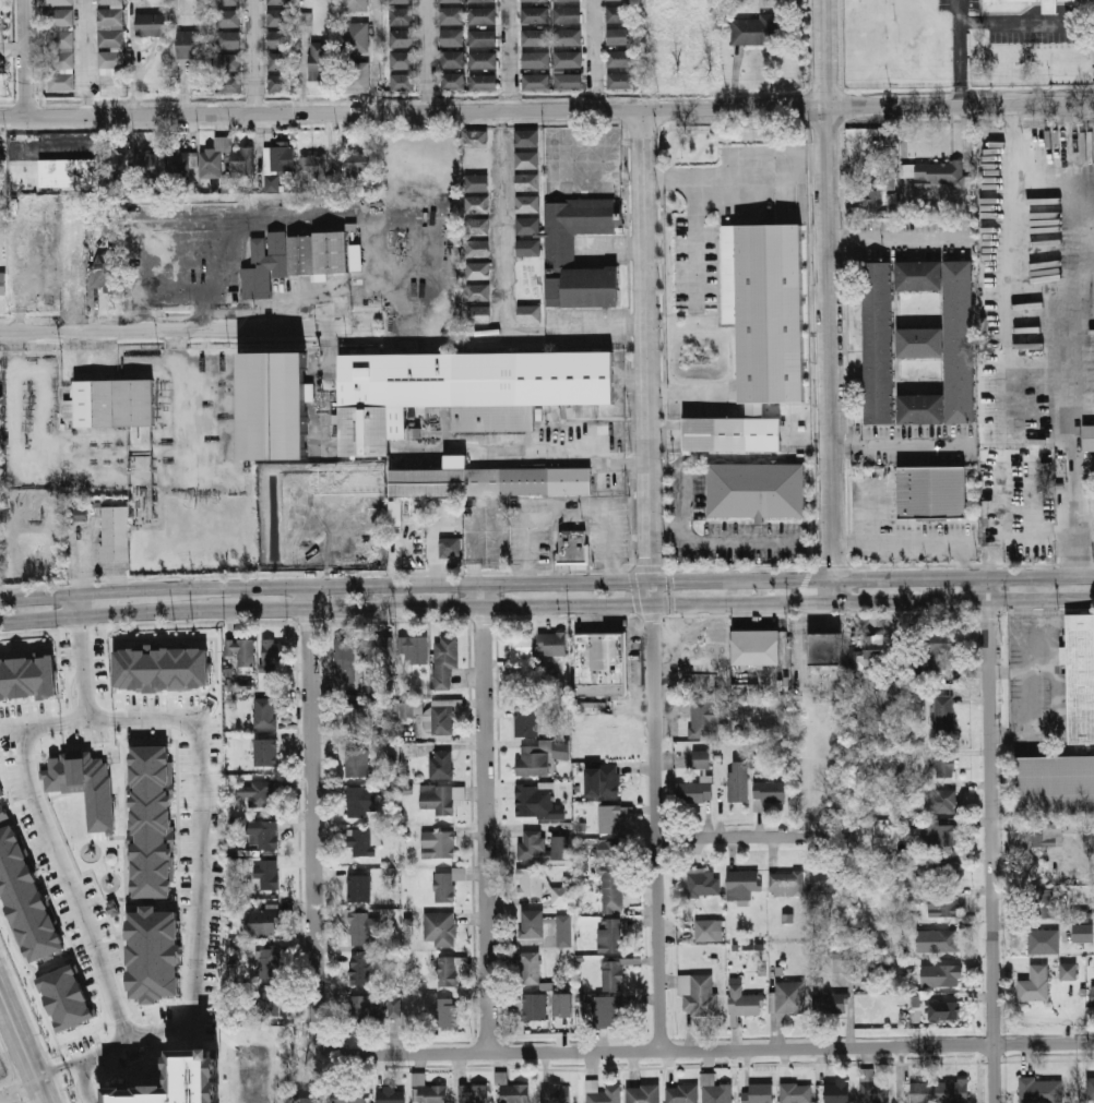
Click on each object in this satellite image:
building: (486, 0)
building: (535, 0)
building: (566, 0)
building: (611, 0)
building: (1007, 0)
building: (1073, 0)
building: (64, 1)
building: (112, 1)
building: (283, 1)
building: (403, 1)
building: (455, 1)
building: (231, 2)
building: (359, 4)
building: (1049, 7)
building: (540, 13)
building: (573, 13)
building: (623, 13)
building: (2, 15)
building: (405, 15)
building: (455, 15)
building: (64, 16)
building: (114, 16)
building: (233, 16)
building: (284, 16)
building: (486, 16)
building: (305, 17)
road: (1026, 21)
building: (155, 24)
building: (761, 29)
building: (625, 35)
building: (540, 36)
building: (573, 36)
building: (359, 37)
building: (405, 37)
building: (456, 37)
building: (115, 38)
building: (285, 38)
building: (486, 38)
building: (63, 39)
building: (233, 39)
building: (198, 44)
road: (13, 47)
road: (959, 52)
road: (806, 53)
road: (513, 55)
road: (599, 55)
road: (261, 56)
road: (378, 56)
road: (424, 56)
road: (27, 57)
road: (86, 57)
road: (178, 57)
building: (626, 57)
building: (542, 58)
building: (574, 58)
building: (66, 59)
building: (115, 59)
building: (456, 59)
building: (406, 60)
building: (487, 60)
building: (234, 61)
building: (285, 61)
building: (323, 61)
building: (356, 77)
building: (67, 80)
building: (543, 80)
building: (574, 80)
building: (626, 80)
building: (457, 81)
building: (1, 82)
building: (406, 82)
building: (233, 83)
building: (285, 83)
building: (487, 83)
road: (817, 86)
road: (547, 109)
building: (525, 139)
building: (475, 140)
road: (600, 144)
building: (214, 158)
building: (283, 158)
road: (552, 159)
building: (526, 160)
building: (148, 163)
building: (181, 163)
building: (242, 163)
building: (358, 165)
building: (114, 166)
building: (313, 167)
building: (49, 171)
road: (740, 171)
building: (935, 173)
road: (598, 175)
building: (271, 182)
building: (526, 182)
building: (476, 183)
building: (879, 191)
building: (526, 204)
building: (477, 205)
road: (298, 212)
road: (502, 219)
building: (99, 226)
building: (73, 227)
building: (477, 227)
building: (526, 227)
road: (1012, 236)
road: (692, 239)
road: (899, 239)
building: (526, 248)
building: (477, 249)
building: (558, 249)
road: (616, 249)
building: (355, 256)
building: (293, 259)
road: (1084, 260)
building: (69, 271)
building: (478, 271)
building: (105, 272)
building: (916, 274)
building: (2, 284)
building: (478, 292)
road: (830, 299)
road: (330, 302)
road: (1077, 309)
building: (478, 313)
building: (528, 313)
road: (603, 326)
road: (175, 327)
building: (757, 335)
building: (875, 340)
building: (956, 340)
building: (917, 341)
road: (176, 386)
road: (13, 389)
building: (459, 391)
road: (688, 398)
building: (108, 403)
building: (270, 405)
building: (918, 408)
road: (1011, 428)
building: (1089, 437)
road: (902, 446)
road: (1085, 466)
building: (346, 479)
building: (487, 480)
road: (1003, 484)
building: (756, 489)
building: (1093, 489)
building: (937, 493)
road: (677, 496)
road: (568, 505)
road: (1085, 505)
building: (400, 508)
building: (75, 514)
building: (334, 514)
gas station: (338, 528)
building: (111, 532)
building: (340, 538)
road: (732, 540)
road: (1078, 540)
road: (1085, 541)
road: (914, 544)
building: (569, 545)
building: (450, 547)
road: (653, 579)
road: (546, 583)
road: (76, 603)
road: (546, 603)
building: (551, 643)
building: (752, 646)
building: (379, 647)
building: (414, 648)
building: (822, 648)
building: (521, 649)
building: (241, 650)
building: (941, 650)
building: (274, 651)
building: (870, 651)
building: (344, 655)
building: (444, 659)
building: (597, 663)
road: (81, 667)
building: (162, 668)
building: (1078, 676)
building: (27, 679)
building: (369, 686)
building: (528, 686)
building: (264, 712)
building: (703, 715)
building: (944, 715)
building: (430, 717)
building: (356, 721)
building: (525, 723)
building: (265, 752)
building: (702, 759)
building: (532, 760)
building: (357, 762)
building: (441, 764)
building: (944, 767)
road: (198, 778)
building: (603, 781)
building: (1053, 784)
building: (85, 788)
building: (733, 790)
building: (694, 791)
building: (770, 791)
building: (257, 792)
building: (0, 796)
building: (439, 798)
building: (941, 801)
building: (361, 802)
building: (536, 802)
building: (2, 813)
road: (313, 816)
road: (484, 818)
building: (609, 819)
building: (151, 823)
building: (263, 832)
building: (1046, 834)
building: (941, 836)
road: (741, 837)
road: (990, 839)
building: (361, 841)
building: (559, 843)
building: (438, 844)
building: (533, 844)
building: (947, 872)
building: (269, 874)
building: (611, 875)
building: (828, 879)
building: (530, 882)
road: (67, 884)
building: (447, 884)
building: (704, 884)
building: (742, 884)
building: (785, 884)
building: (358, 888)
building: (561, 896)
building: (913, 896)
building: (25, 900)
building: (1042, 904)
building: (942, 907)
building: (112, 908)
building: (265, 921)
building: (531, 924)
building: (358, 925)
building: (1081, 926)
building: (440, 928)
building: (563, 931)
building: (709, 931)
building: (611, 936)
building: (937, 942)
building: (1044, 942)
building: (155, 954)
building: (270, 966)
building: (530, 968)
building: (875, 969)
building: (359, 970)
building: (1068, 971)
building: (447, 972)
building: (613, 974)
building: (941, 975)
building: (1034, 984)
building: (697, 995)
building: (789, 996)
building: (1093, 997)
building: (67, 999)
building: (271, 1000)
building: (744, 1002)
building: (828, 1002)
building: (562, 1005)
building: (394, 1007)
building: (534, 1007)
building: (365, 1011)
building: (609, 1011)
building: (947, 1011)
building: (447, 1012)
road: (24, 1046)
road: (112, 1046)
road: (707, 1050)
building: (176, 1081)
road: (19, 1088)
building: (872, 1089)
building: (1090, 1089)
building: (1041, 1090)
building: (427, 1091)
building: (512, 1091)
building: (715, 1091)
building: (837, 1091)
building: (952, 1092)
building: (473, 1093)
building: (555, 1093)
building: (602, 1093)
building: (681, 1093)
building: (758, 1093)
building: (796, 1093)
building: (921, 1093)
building: (310, 1094)
building: (348, 1094)
building: (390, 1094)
building: (643, 1094)

